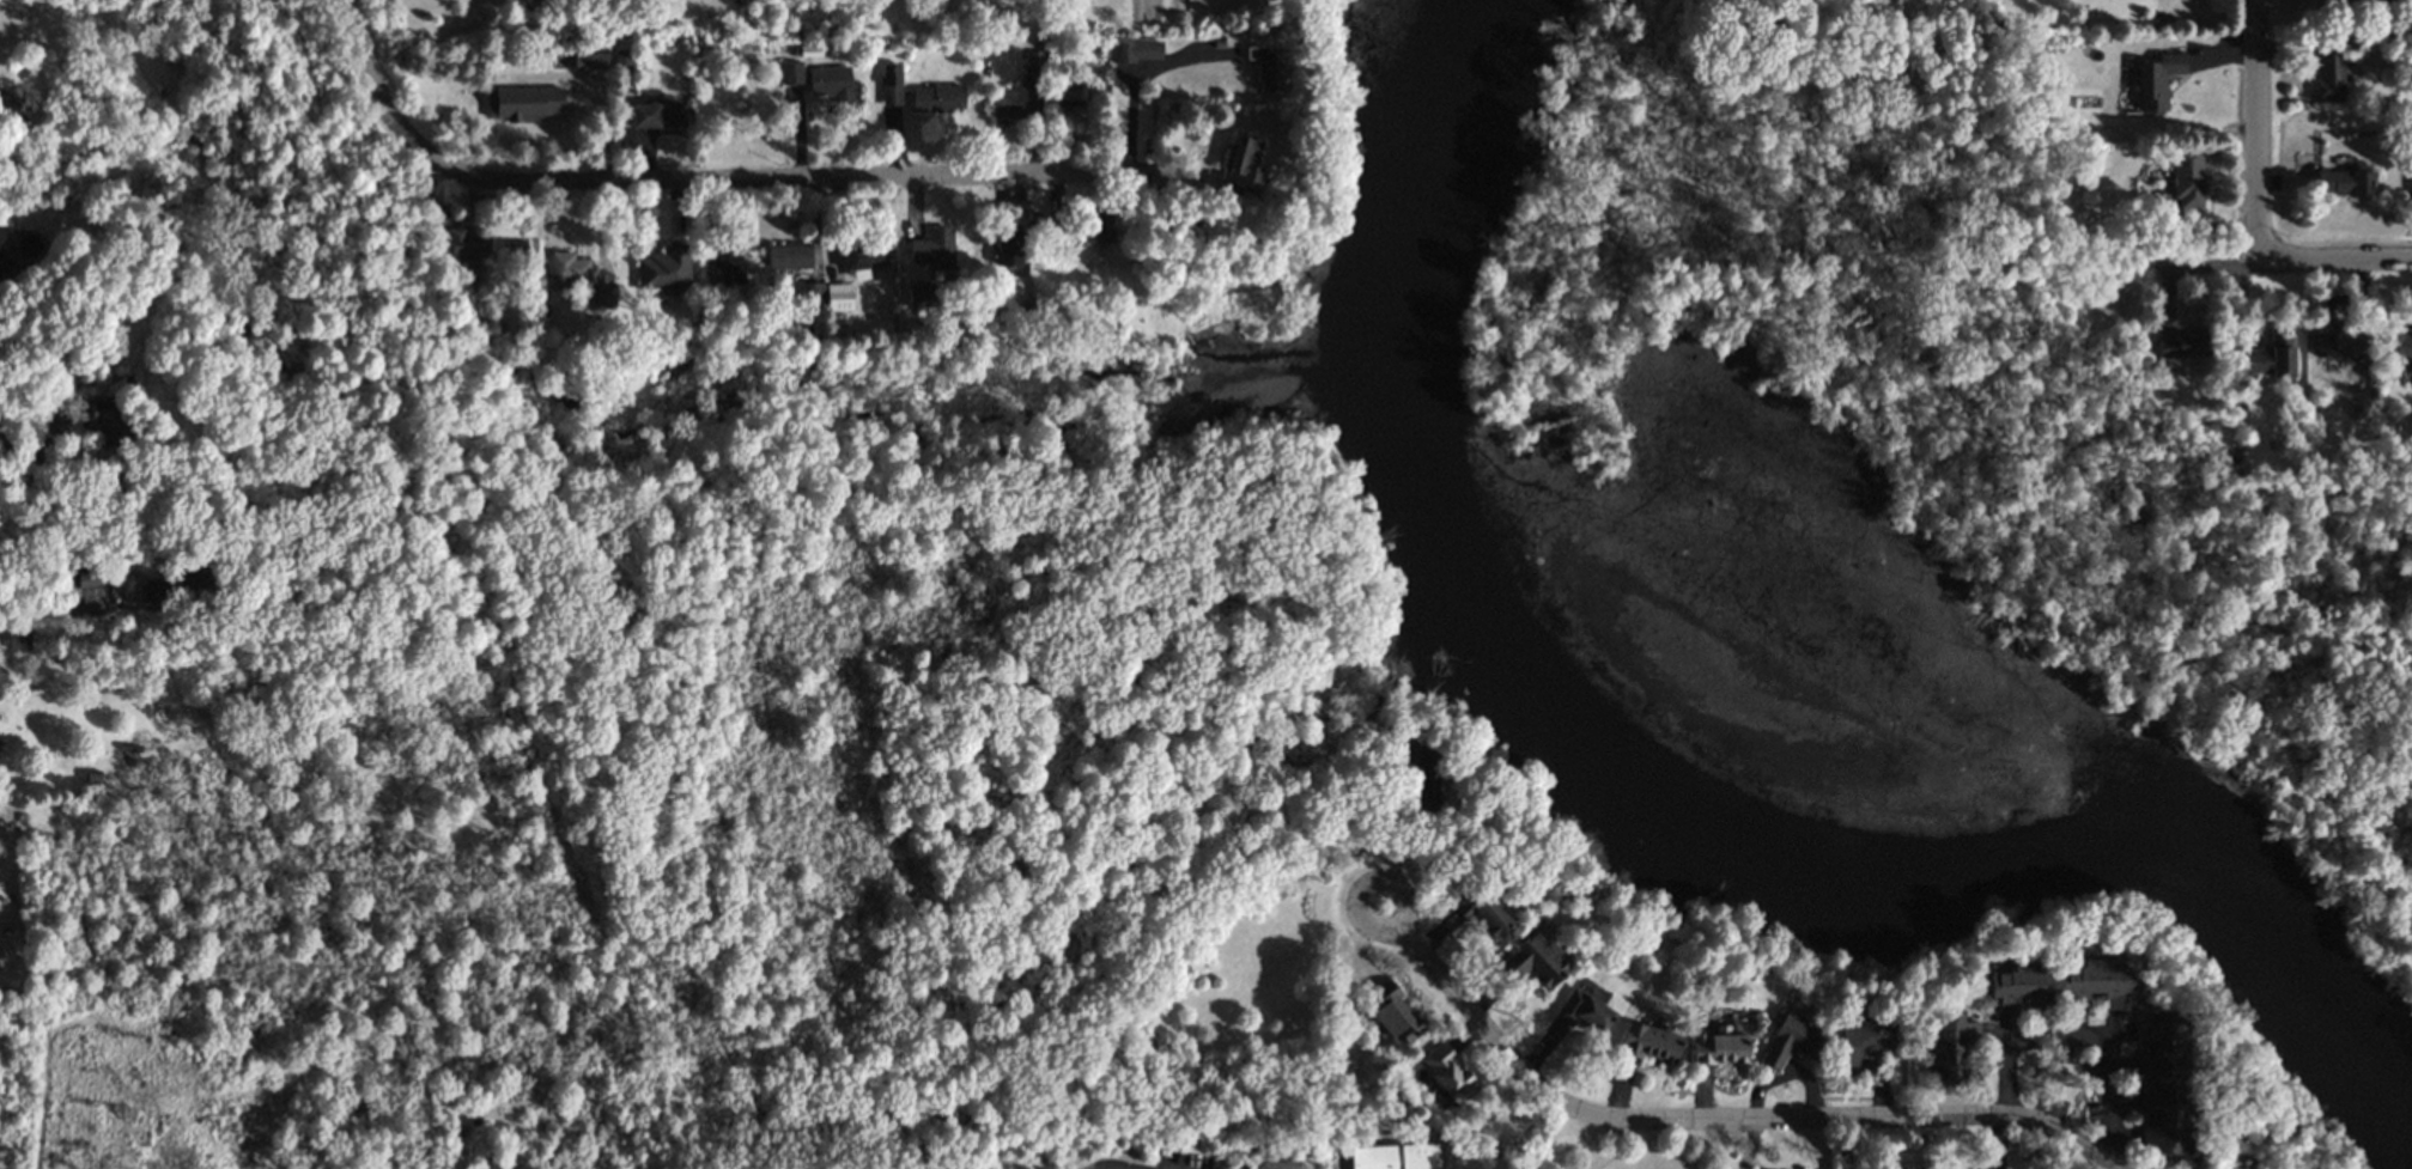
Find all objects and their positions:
road: (1150, 19)
building: (1137, 50)
building: (590, 59)
building: (624, 60)
building: (1269, 67)
building: (791, 73)
building: (2329, 73)
building: (2158, 80)
building: (831, 83)
building: (892, 84)
building: (1071, 90)
building: (1020, 92)
building: (937, 98)
building: (523, 103)
building: (12, 106)
building: (657, 112)
road: (2258, 132)
building: (1241, 168)
building: (2188, 178)
road: (694, 182)
building: (2345, 182)
building: (1098, 227)
building: (464, 242)
building: (1009, 246)
building: (934, 249)
building: (516, 251)
building: (789, 256)
building: (863, 258)
road: (2334, 262)
road: (2183, 263)
building: (728, 264)
building: (8, 266)
building: (567, 270)
building: (664, 270)
building: (810, 293)
building: (919, 296)
building: (603, 297)
building: (838, 297)
building: (2399, 342)
building: (2340, 343)
building: (2183, 346)
building: (2274, 354)
building: (679, 365)
building: (656, 377)
building: (101, 420)
road: (50, 422)
building: (171, 583)
road: (50, 608)
road: (2408, 634)
building: (19, 639)
river: (1709, 677)
building: (1403, 778)
building: (1478, 912)
building: (1724, 931)
building: (1530, 961)
building: (2052, 984)
building: (1578, 1012)
building: (1389, 1013)
building: (1361, 1027)
road: (2072, 1039)
building: (1787, 1040)
building: (1644, 1042)
building: (1855, 1042)
building: (1714, 1048)
building: (1945, 1049)
building: (1441, 1073)
building: (2159, 1084)
road: (1738, 1120)
road: (1614, 1147)
building: (1395, 1156)
building: (1034, 1168)
building: (1039, 1168)

